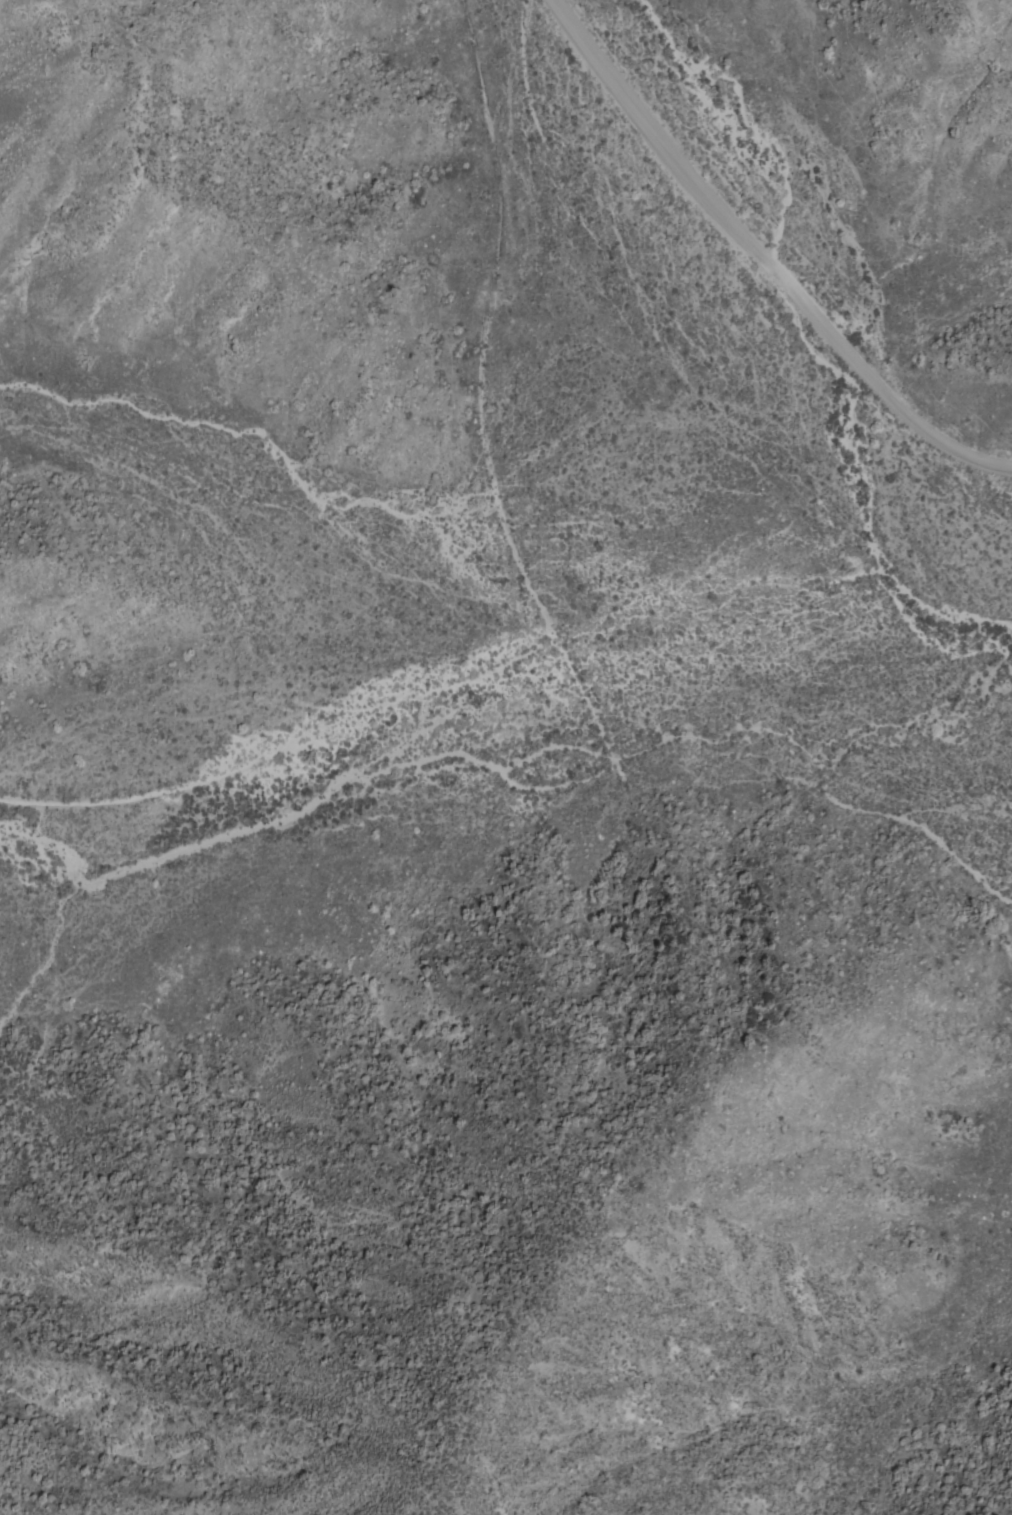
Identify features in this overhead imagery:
road: (765, 256)

